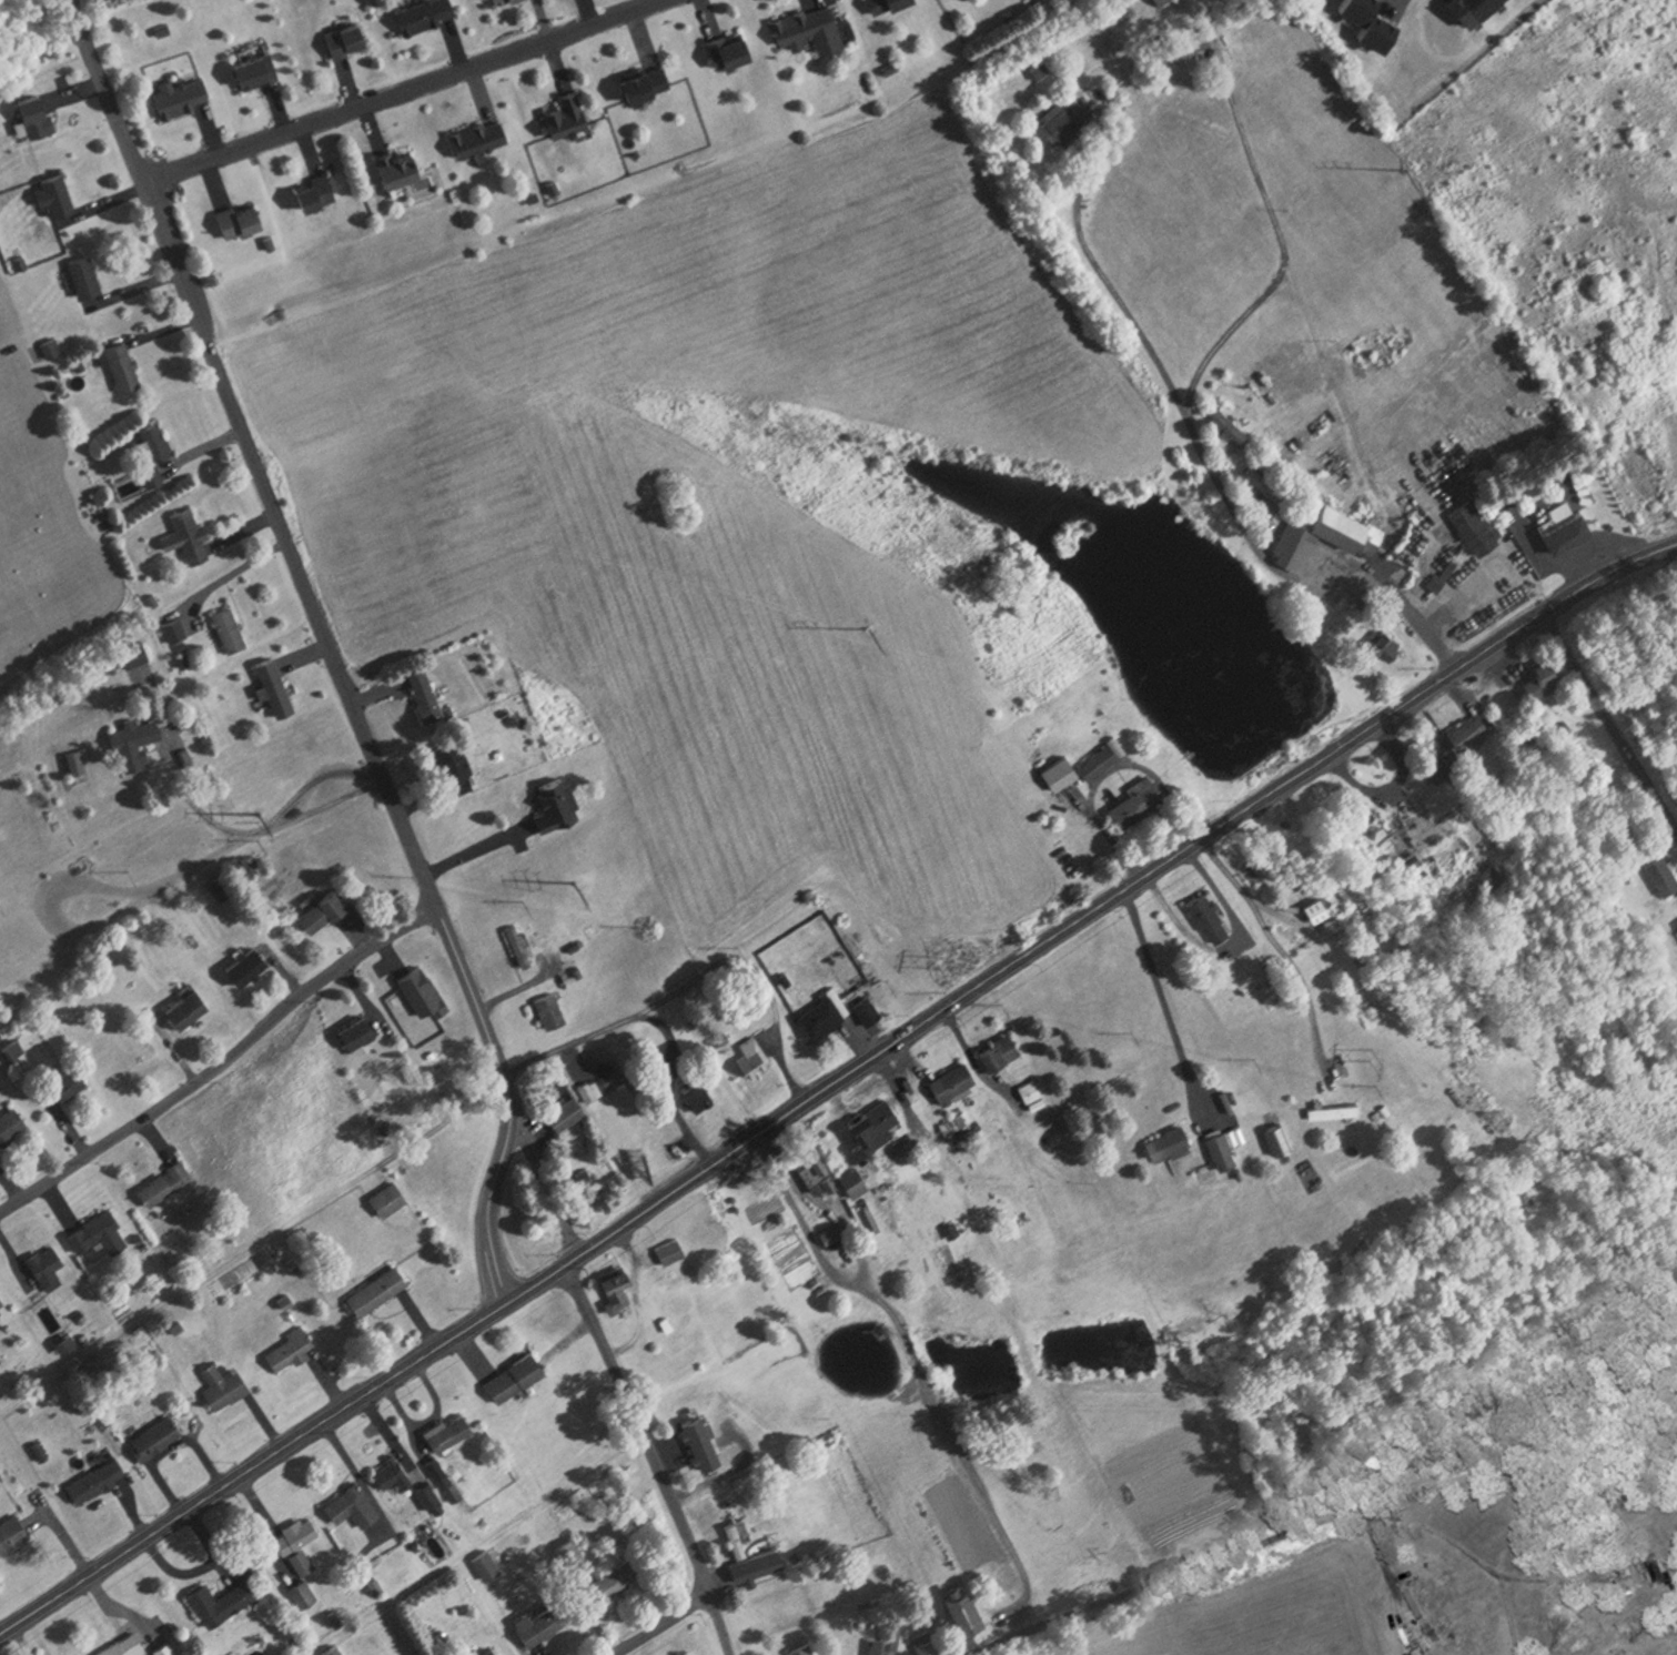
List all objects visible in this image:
road: (398, 88)
power tower: (1404, 172)
road: (1205, 452)
power tower: (871, 628)
road: (331, 644)
road: (1613, 714)
road: (1111, 767)
power tower: (255, 811)
road: (259, 831)
power tower: (576, 881)
road: (1226, 904)
road: (1280, 945)
power tower: (936, 959)
road: (1168, 1005)
road: (657, 1017)
power tower: (1375, 1054)
road: (973, 1062)
road: (224, 1067)
road: (835, 1083)
road: (443, 1126)
road: (548, 1184)
road: (913, 1361)
road: (638, 1425)
road: (1221, 1554)
road: (1558, 1577)
road: (1507, 1603)
road: (723, 1621)
road: (661, 1624)

